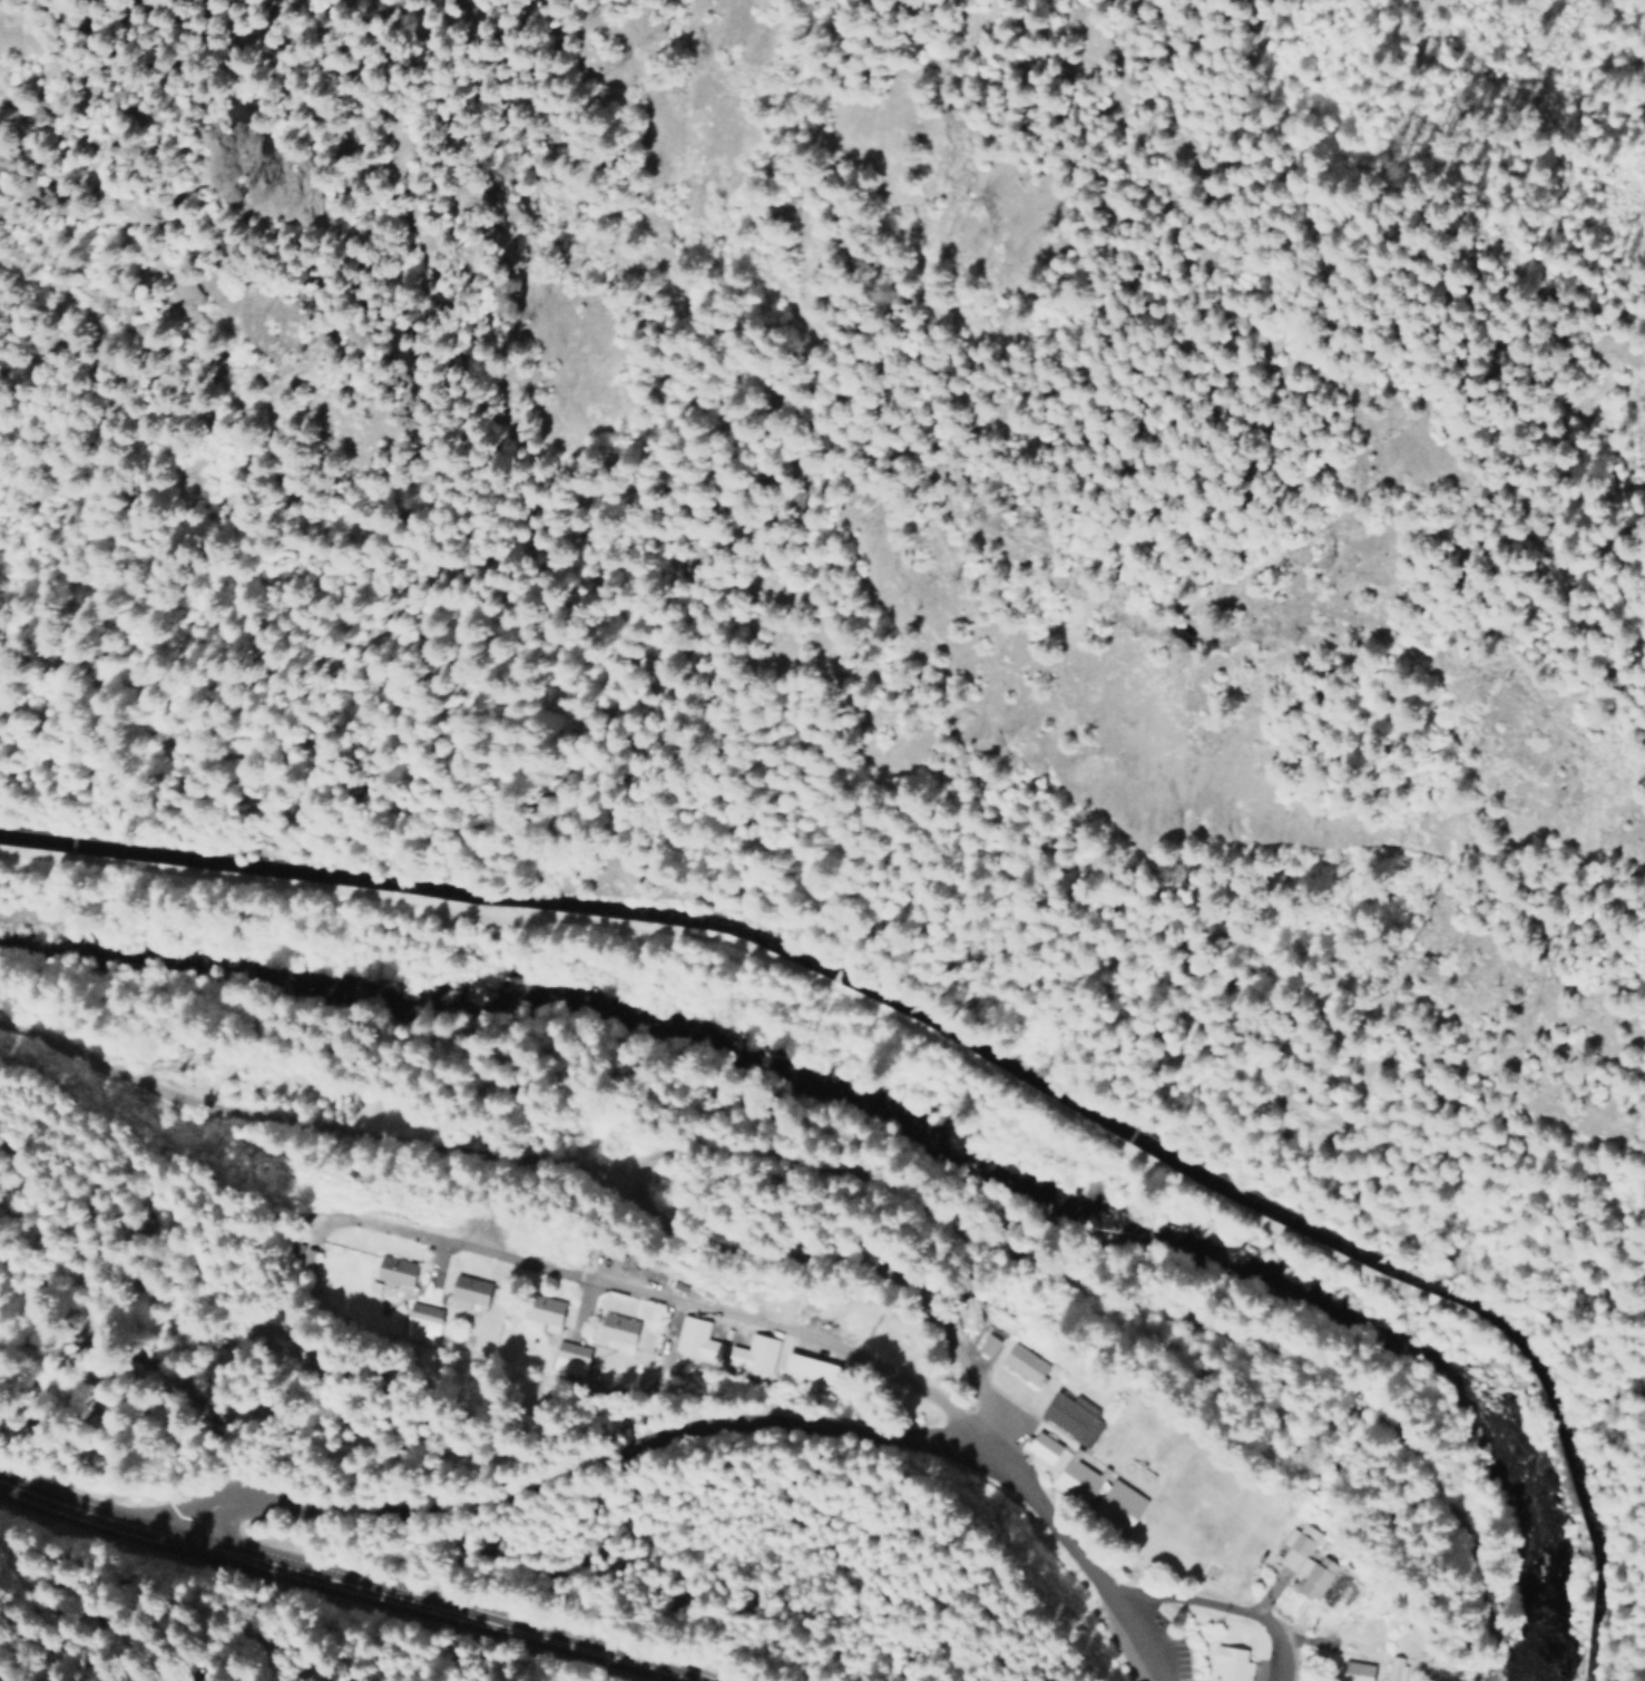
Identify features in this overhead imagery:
road: (1393, 287)
road: (810, 981)
river: (902, 1127)
road: (578, 1162)
power tower: (254, 1172)
building: (307, 1261)
building: (395, 1274)
building: (469, 1293)
building: (541, 1312)
building: (970, 1312)
building: (420, 1328)
building: (615, 1333)
road: (796, 1335)
building: (748, 1353)
building: (566, 1364)
building: (1025, 1366)
building: (805, 1375)
building: (1075, 1419)
building: (1045, 1447)
road: (582, 1476)
building: (1074, 1488)
building: (1118, 1506)
building: (1312, 1563)
road: (336, 1586)
road: (1273, 1597)
road: (1222, 1610)
building: (1231, 1664)
building: (1404, 1671)
building: (1363, 1672)

